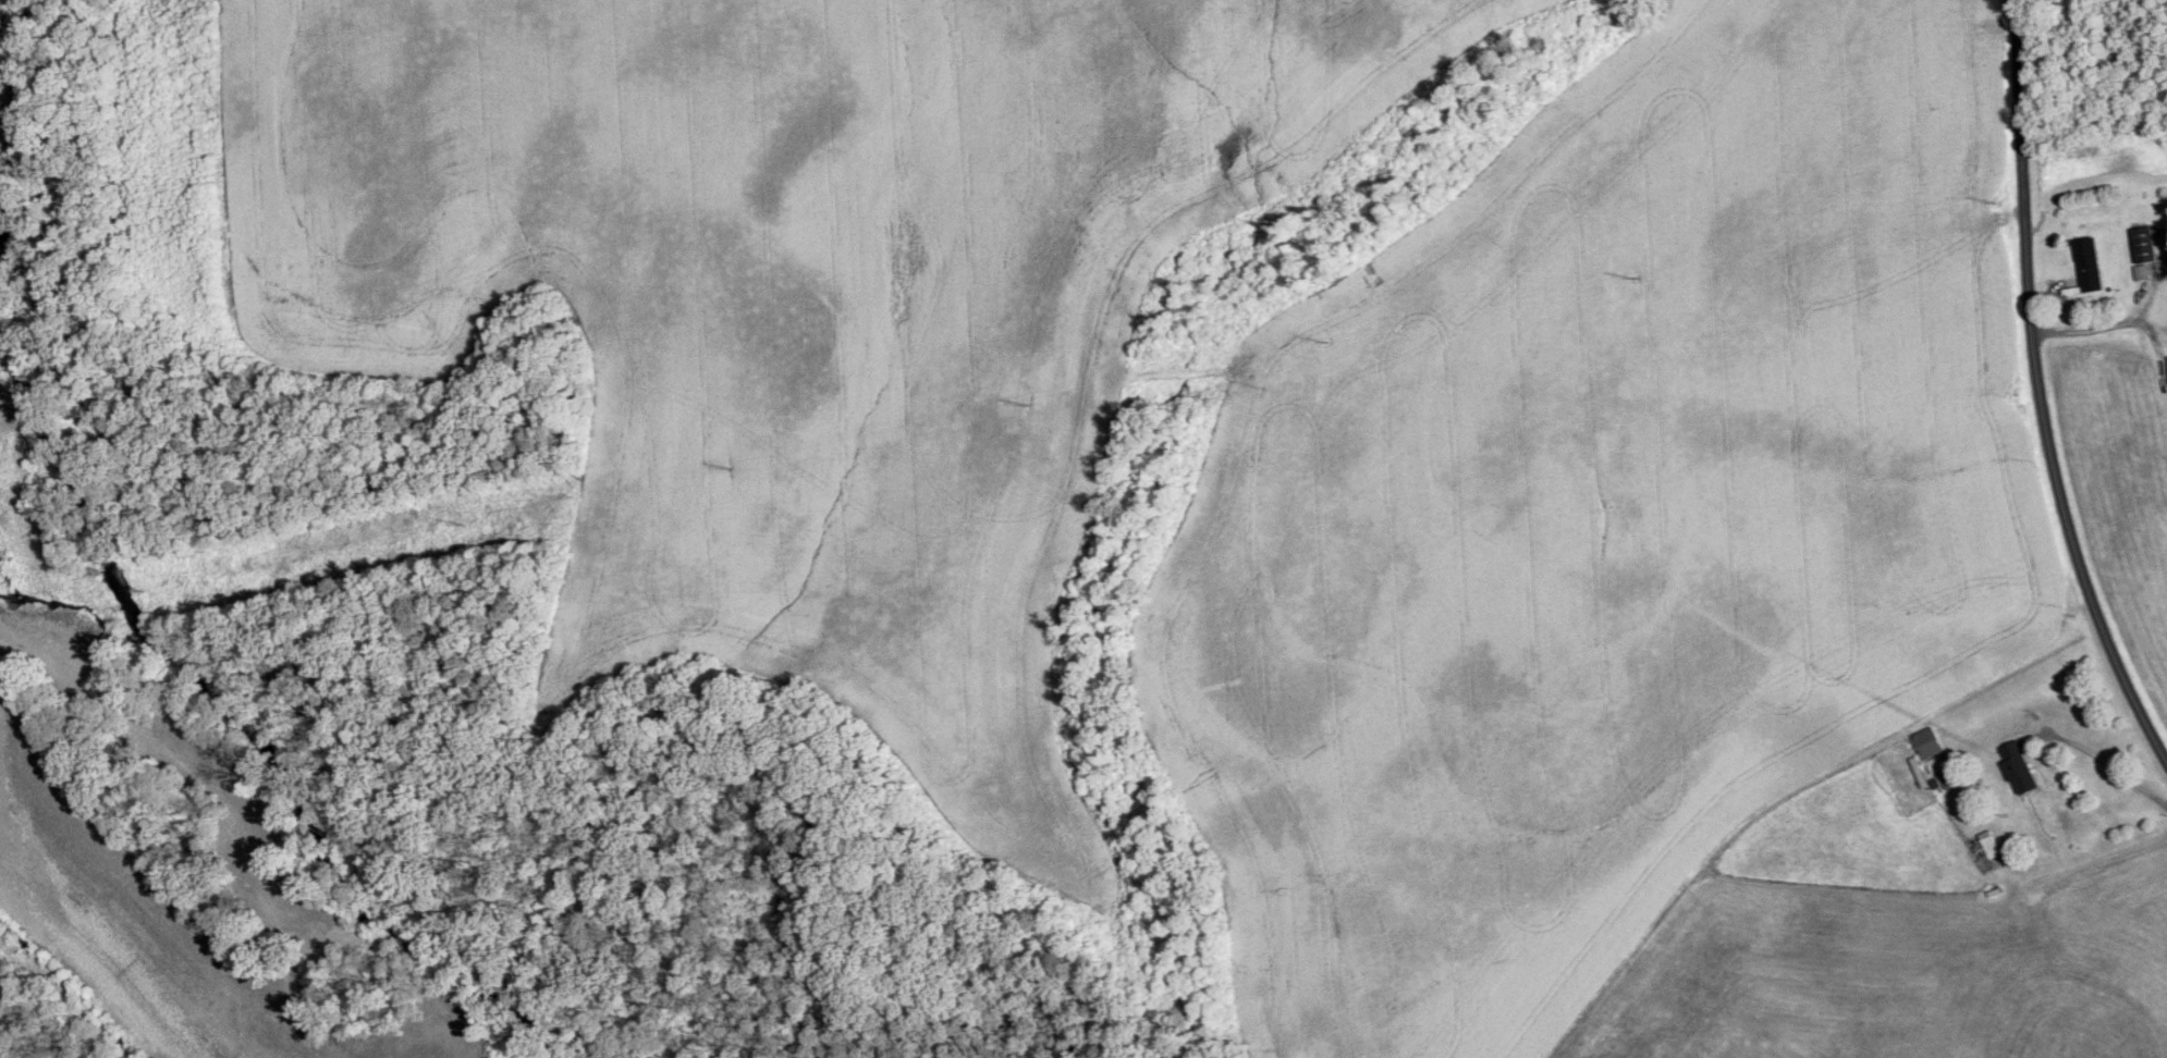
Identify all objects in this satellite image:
building: (2164, 247)
building: (2086, 264)
road: (2120, 324)
road: (2039, 392)
building: (1929, 751)
road: (2104, 761)
building: (2017, 768)

